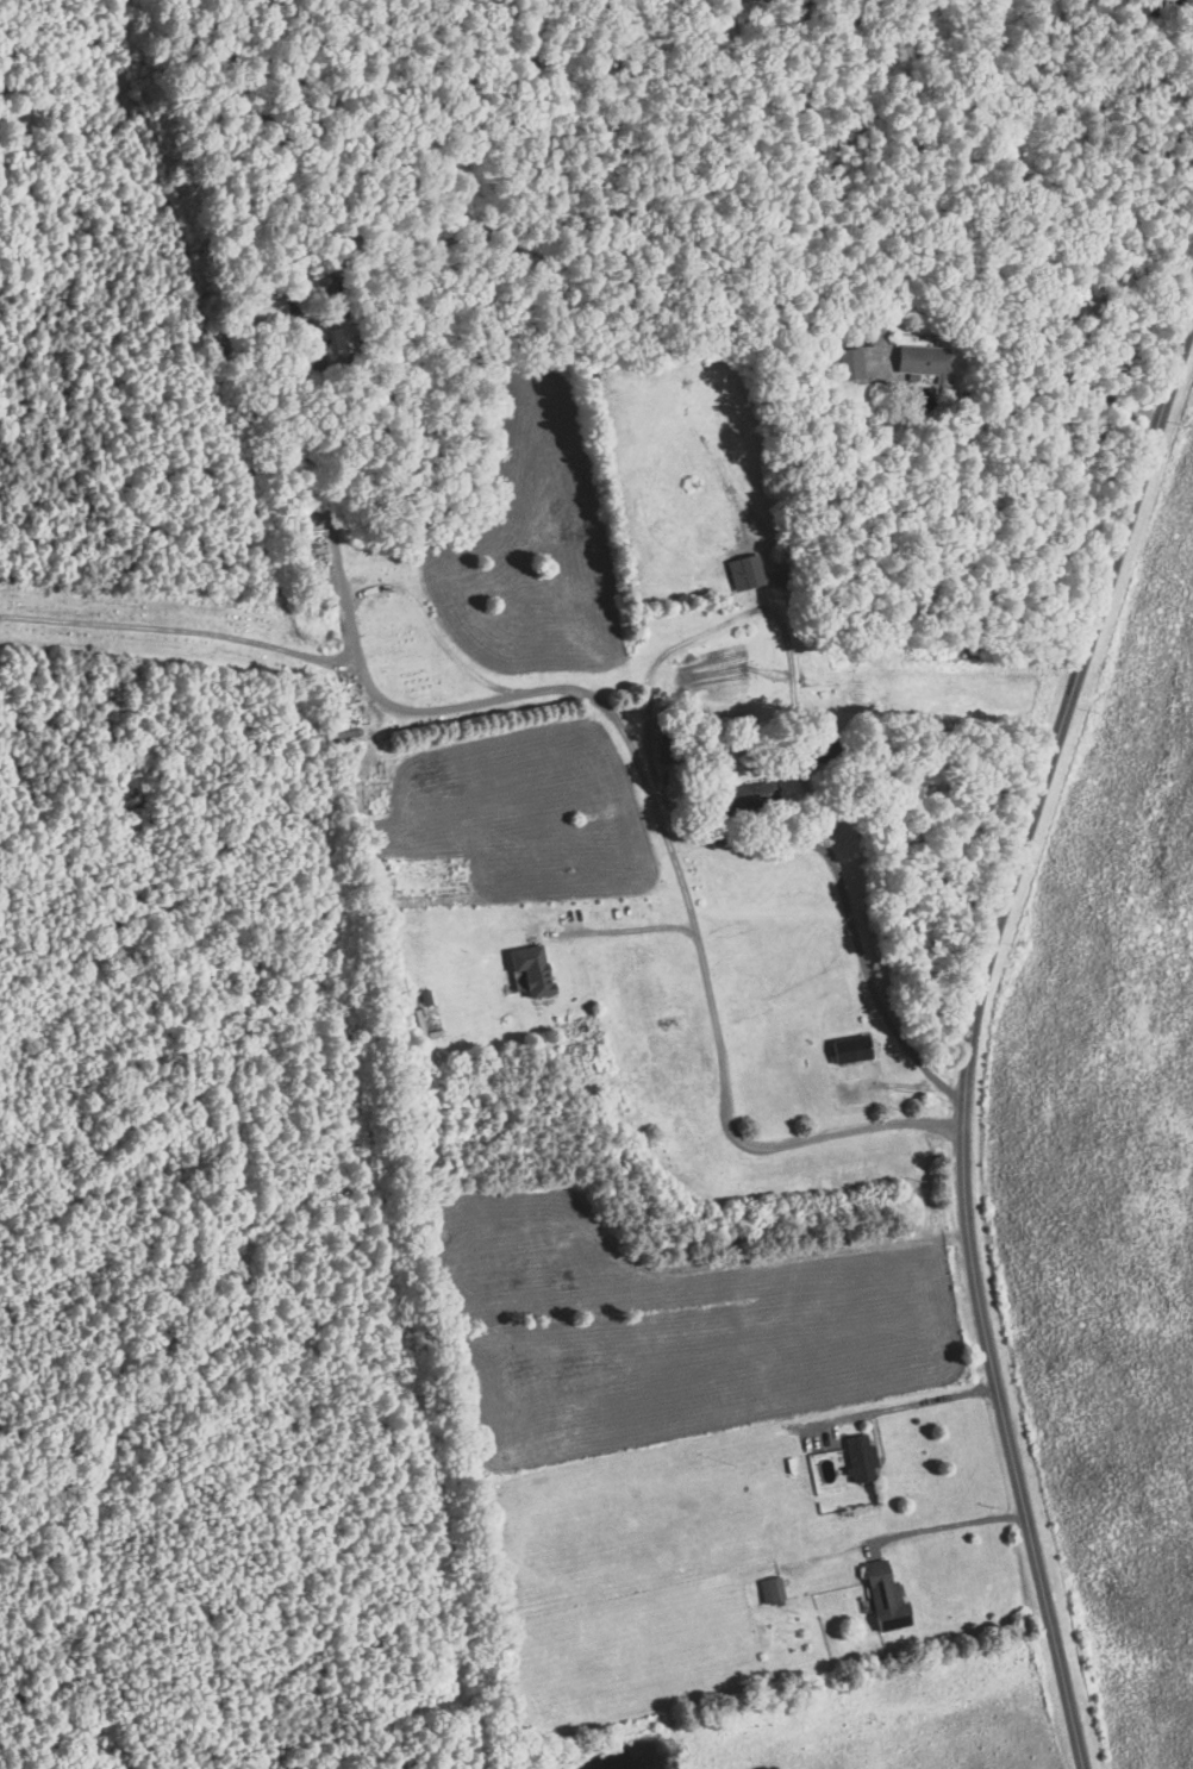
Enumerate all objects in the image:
road: (1005, 285)
building: (343, 337)
building: (924, 360)
building: (744, 571)
road: (787, 644)
power tower: (329, 646)
road: (436, 711)
building: (669, 751)
building: (533, 969)
road: (973, 1034)
building: (851, 1049)
road: (724, 1088)
road: (900, 1406)
building: (861, 1458)
road: (944, 1524)
building: (772, 1589)
building: (886, 1598)

